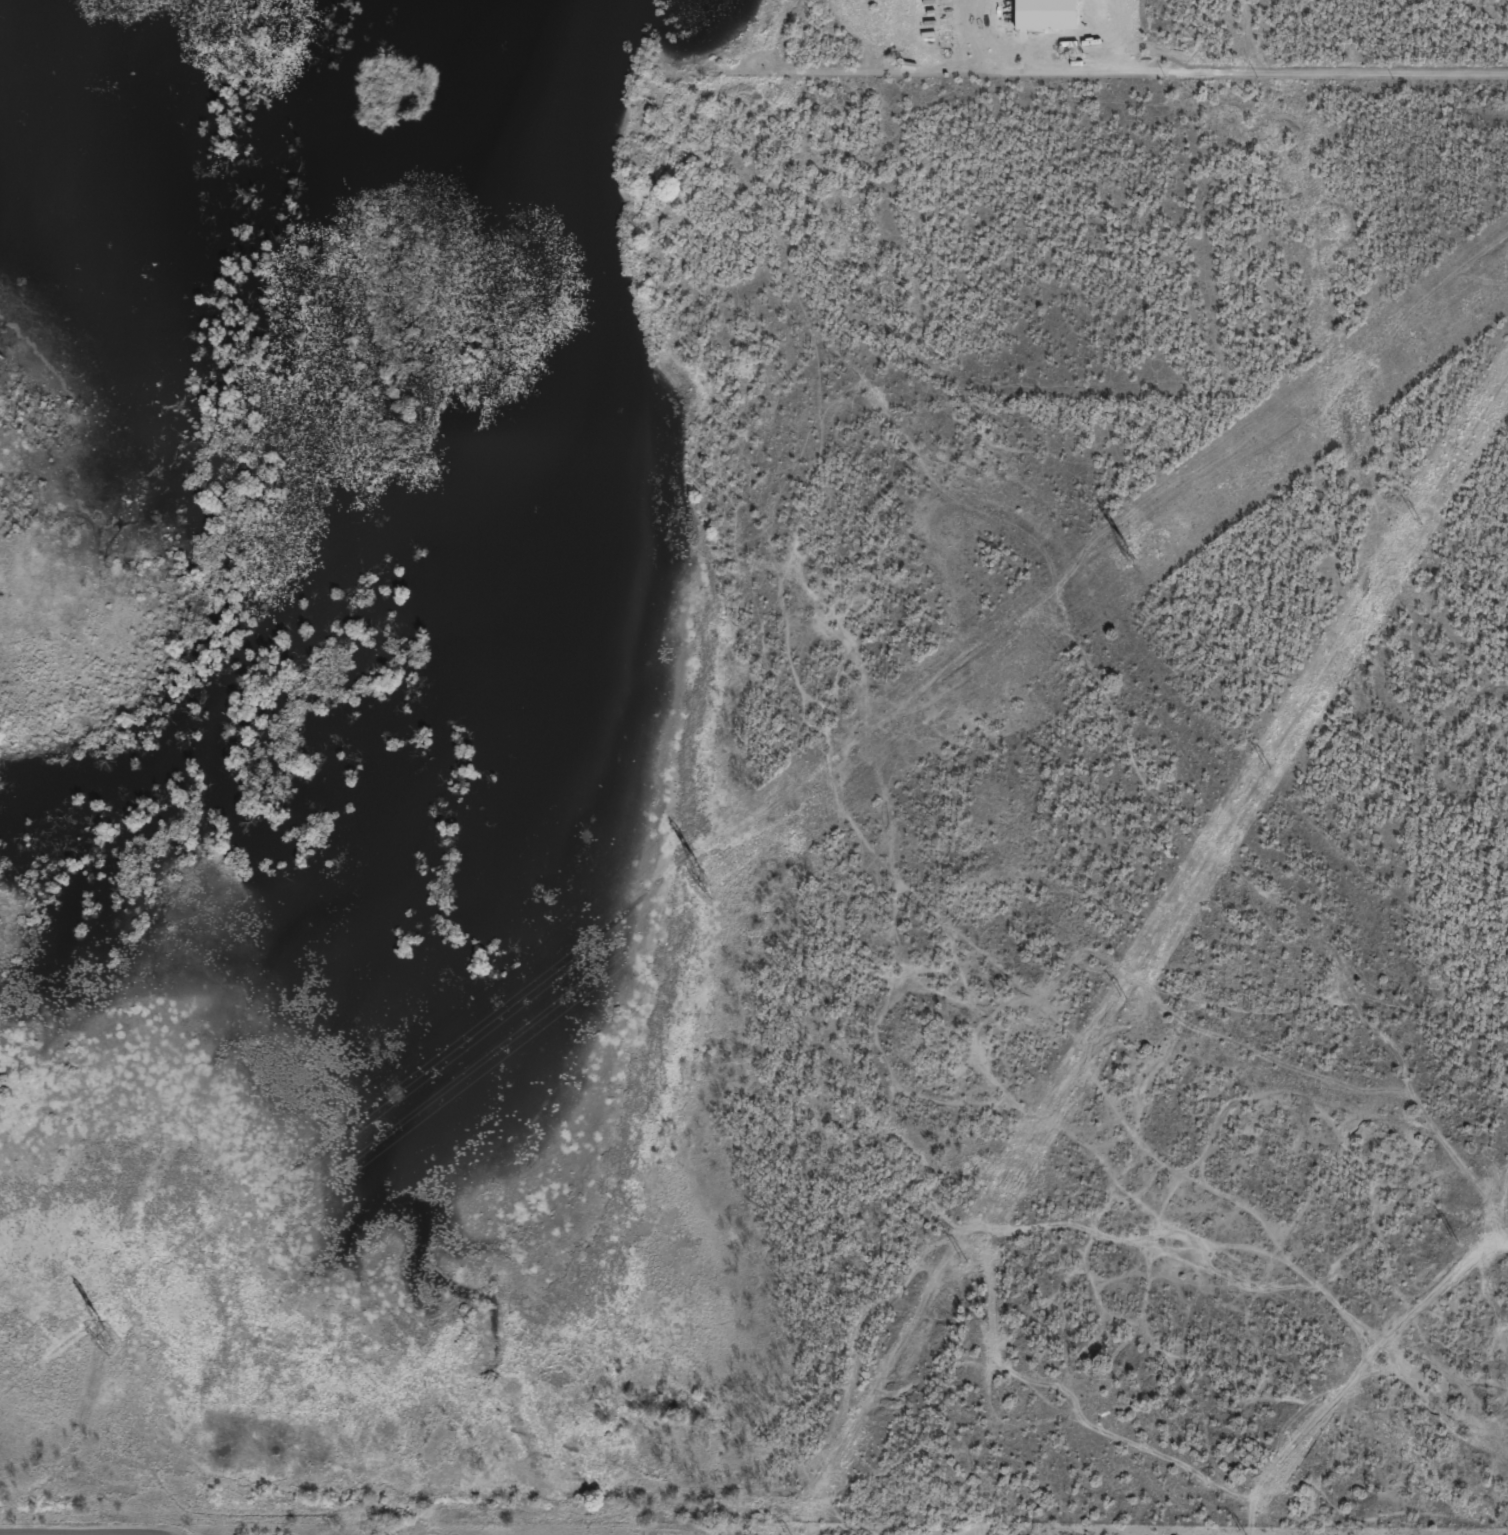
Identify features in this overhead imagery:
road: (1122, 72)
power tower: (1417, 521)
power tower: (1127, 554)
power tower: (1265, 767)
power tower: (707, 877)
power tower: (1122, 998)
power tower: (1452, 1239)
power tower: (962, 1259)
power tower: (107, 1336)
power tower: (1242, 1532)

